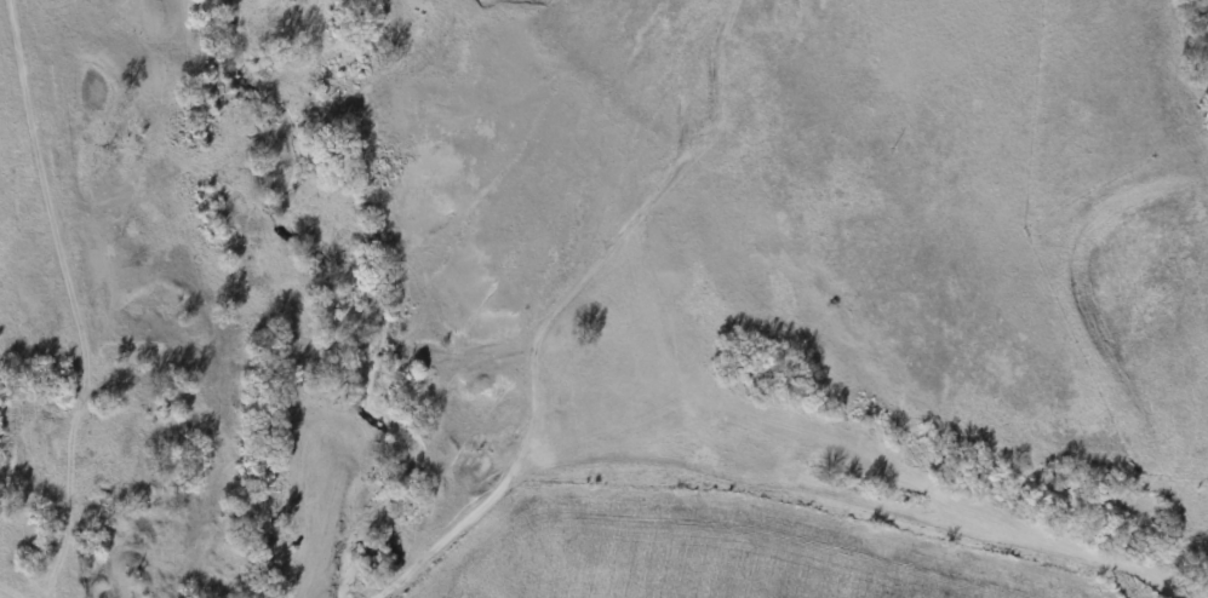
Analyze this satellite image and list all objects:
road: (245, 143)
road: (111, 404)

